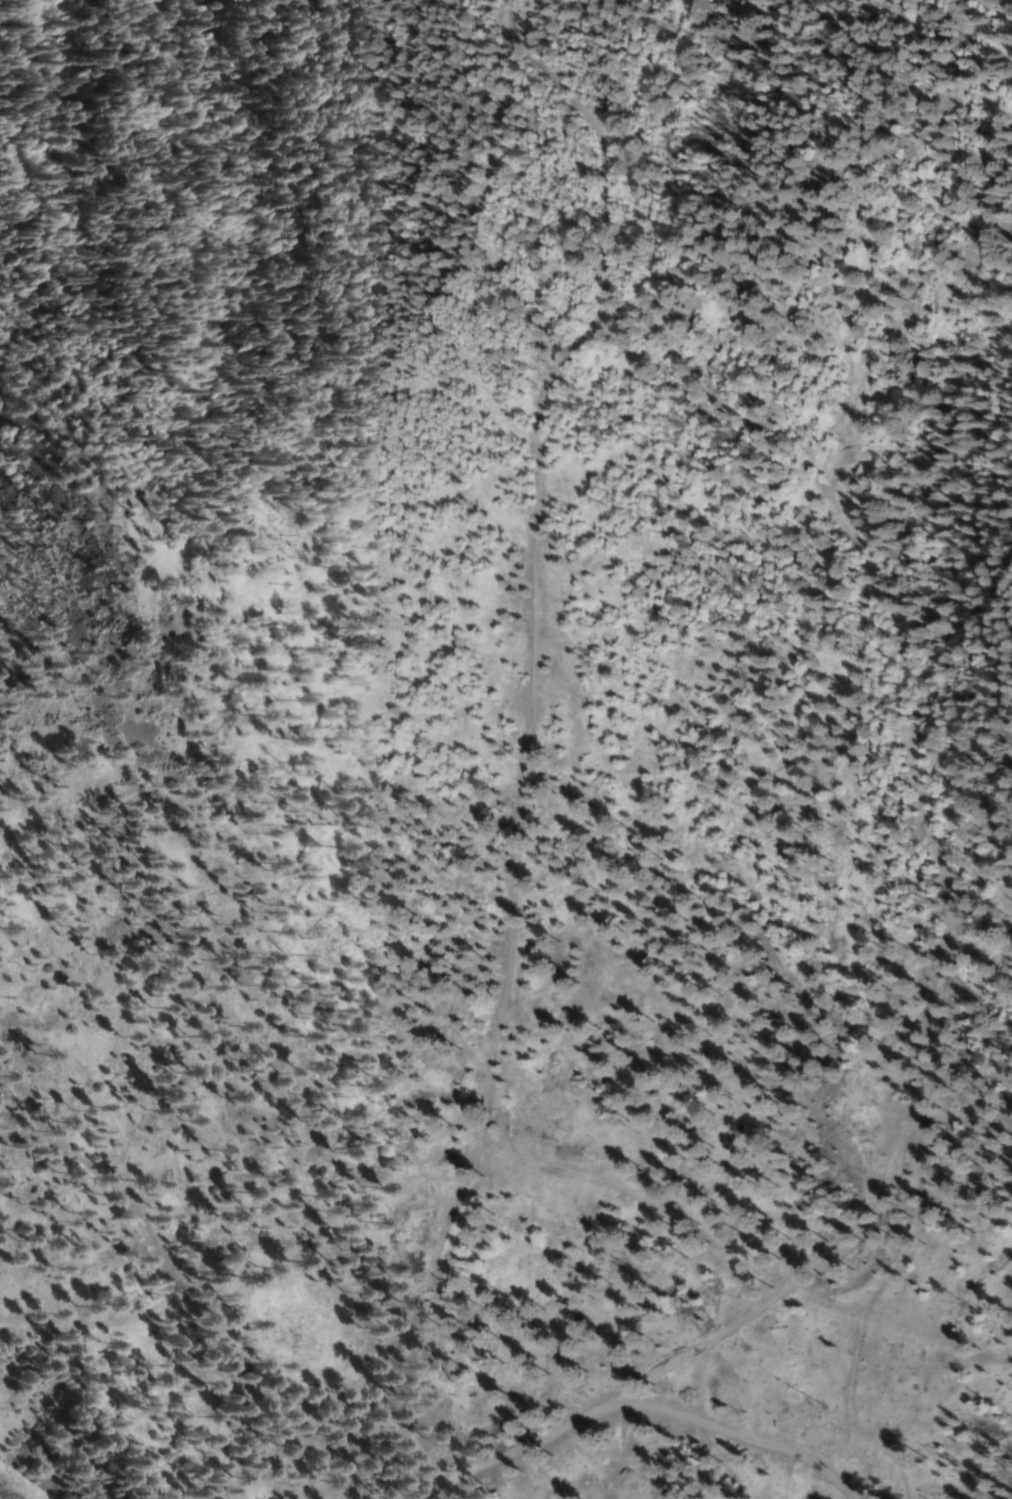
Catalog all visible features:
road: (522, 742)
road: (847, 1253)
road: (643, 1398)

